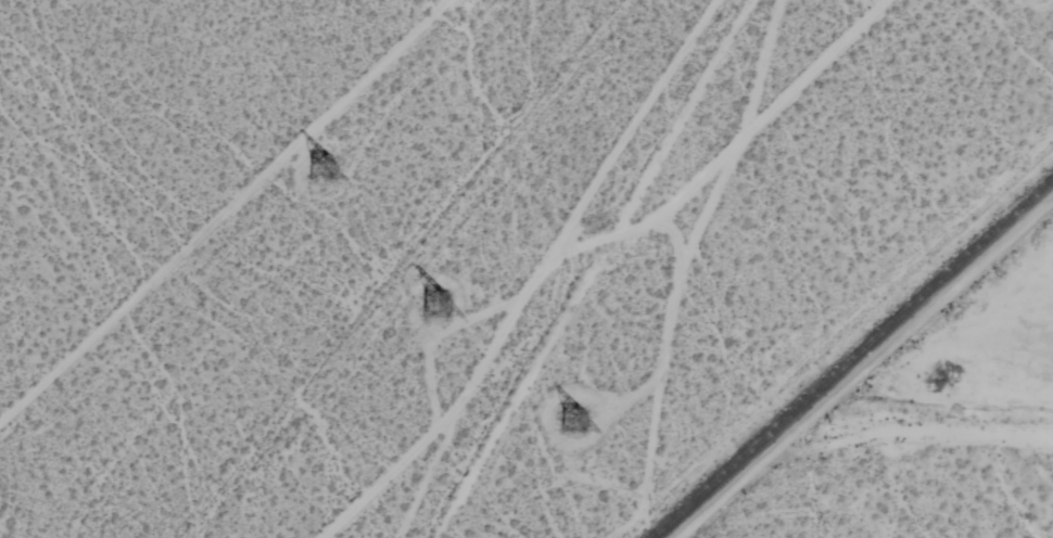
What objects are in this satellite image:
road: (739, 141)
power tower: (318, 171)
road: (585, 247)
power tower: (434, 309)
road: (913, 323)
railway: (851, 357)
road: (660, 380)
power tower: (578, 421)
road: (429, 472)
road: (725, 492)

